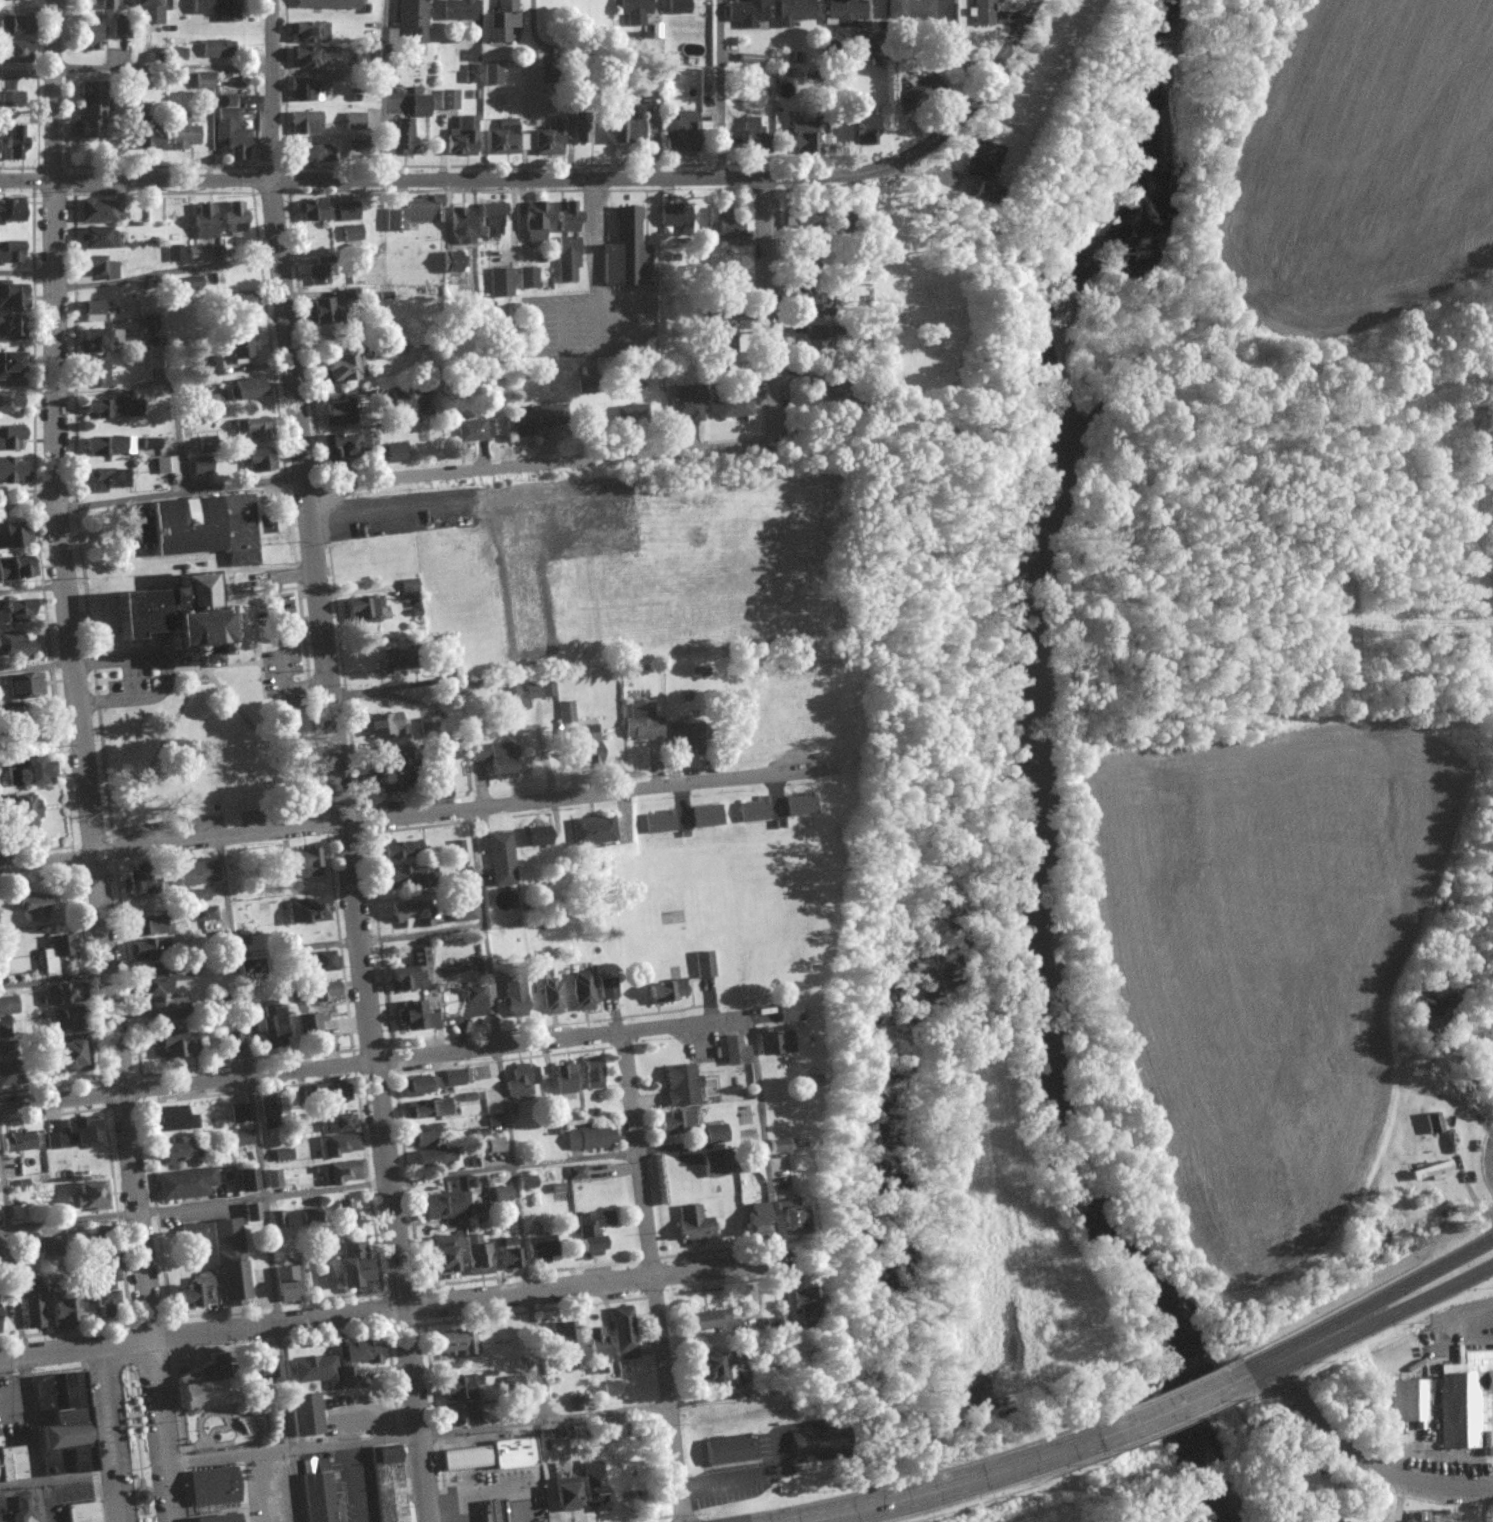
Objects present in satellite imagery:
building: (99, 3)
building: (327, 4)
building: (678, 6)
building: (217, 9)
building: (910, 9)
building: (457, 10)
building: (633, 10)
building: (151, 11)
building: (846, 11)
building: (795, 12)
building: (982, 12)
building: (747, 13)
building: (413, 19)
building: (503, 20)
building: (13, 25)
building: (308, 32)
building: (90, 36)
building: (862, 46)
building: (216, 49)
building: (13, 52)
building: (176, 53)
building: (313, 55)
road: (191, 65)
building: (473, 74)
building: (493, 74)
road: (990, 74)
building: (203, 81)
building: (925, 86)
road: (384, 88)
road: (720, 88)
building: (309, 90)
building: (647, 95)
building: (13, 99)
building: (449, 100)
building: (420, 105)
building: (90, 111)
building: (355, 121)
building: (304, 123)
building: (627, 126)
building: (864, 128)
building: (579, 132)
building: (183, 133)
building: (231, 133)
building: (682, 134)
building: (751, 135)
building: (803, 136)
building: (142, 137)
building: (462, 137)
building: (402, 138)
building: (506, 138)
building: (549, 139)
building: (11, 142)
building: (312, 154)
building: (978, 160)
road: (472, 178)
building: (316, 210)
building: (11, 211)
building: (100, 211)
building: (347, 212)
building: (414, 213)
building: (674, 217)
building: (803, 217)
building: (234, 219)
building: (491, 219)
building: (535, 221)
building: (204, 222)
building: (723, 225)
building: (462, 226)
building: (352, 233)
building: (96, 238)
building: (567, 242)
building: (625, 251)
building: (11, 252)
building: (175, 253)
building: (200, 254)
road: (595, 258)
building: (454, 262)
building: (808, 266)
building: (101, 267)
building: (319, 272)
road: (27, 273)
road: (166, 274)
building: (528, 278)
building: (501, 282)
building: (10, 295)
building: (242, 301)
building: (815, 304)
road: (766, 306)
building: (95, 311)
building: (325, 312)
building: (150, 323)
building: (10, 328)
building: (718, 339)
building: (98, 340)
building: (816, 342)
building: (241, 350)
building: (212, 366)
building: (9, 367)
building: (342, 369)
building: (95, 373)
road: (168, 381)
road: (28, 385)
building: (587, 385)
building: (249, 388)
building: (197, 391)
building: (401, 398)
building: (10, 402)
building: (685, 404)
building: (732, 407)
building: (114, 408)
building: (338, 413)
building: (532, 420)
building: (250, 430)
building: (474, 431)
building: (10, 439)
building: (206, 445)
building: (340, 445)
building: (109, 446)
building: (395, 452)
building: (256, 461)
building: (171, 463)
road: (541, 464)
building: (200, 466)
building: (12, 471)
building: (109, 479)
road: (181, 490)
road: (29, 502)
building: (198, 529)
building: (14, 535)
building: (17, 569)
road: (33, 589)
building: (410, 589)
building: (364, 609)
building: (19, 611)
building: (171, 619)
building: (16, 646)
building: (390, 661)
road: (38, 667)
road: (76, 671)
building: (447, 671)
road: (164, 676)
building: (24, 685)
building: (547, 686)
building: (521, 695)
building: (566, 712)
building: (643, 721)
building: (384, 724)
building: (19, 728)
building: (428, 728)
building: (686, 738)
road: (541, 748)
building: (585, 749)
building: (495, 756)
river: (1030, 758)
road: (340, 761)
building: (30, 771)
building: (392, 773)
building: (438, 787)
building: (801, 804)
building: (755, 810)
building: (20, 812)
road: (409, 816)
building: (707, 816)
building: (660, 821)
building: (593, 830)
building: (538, 836)
building: (400, 848)
building: (502, 859)
building: (302, 862)
building: (198, 873)
building: (404, 879)
building: (138, 883)
building: (200, 895)
building: (36, 906)
building: (309, 910)
building: (410, 913)
building: (465, 913)
building: (146, 924)
building: (151, 947)
building: (54, 953)
road: (241, 954)
building: (325, 960)
building: (705, 964)
building: (247, 966)
building: (410, 971)
building: (610, 987)
building: (584, 990)
building: (666, 990)
building: (324, 991)
building: (477, 992)
building: (517, 993)
building: (60, 994)
building: (155, 995)
building: (553, 996)
building: (9, 1005)
building: (789, 1011)
building: (415, 1016)
building: (62, 1022)
building: (310, 1023)
building: (274, 1024)
building: (232, 1041)
building: (176, 1042)
building: (775, 1042)
building: (735, 1051)
building: (66, 1055)
road: (365, 1062)
building: (11, 1073)
building: (594, 1074)
building: (457, 1076)
building: (565, 1078)
building: (523, 1080)
building: (423, 1084)
building: (683, 1085)
building: (330, 1093)
building: (429, 1108)
building: (240, 1112)
building: (269, 1112)
road: (507, 1114)
building: (171, 1119)
building: (1434, 1122)
building: (338, 1123)
building: (678, 1123)
building: (716, 1133)
building: (76, 1134)
building: (427, 1134)
building: (242, 1138)
building: (591, 1138)
building: (17, 1141)
building: (338, 1144)
building: (781, 1144)
building: (493, 1146)
building: (179, 1150)
building: (283, 1154)
building: (436, 1156)
building: (716, 1163)
building: (1435, 1171)
building: (342, 1172)
building: (577, 1172)
building: (274, 1178)
building: (245, 1179)
road: (262, 1180)
building: (527, 1182)
building: (185, 1183)
road: (319, 1190)
building: (502, 1194)
building: (90, 1195)
road: (770, 1199)
building: (446, 1205)
building: (345, 1211)
building: (18, 1212)
building: (251, 1212)
building: (791, 1215)
building: (278, 1218)
building: (755, 1220)
building: (694, 1224)
building: (593, 1231)
building: (191, 1232)
building: (36, 1244)
building: (541, 1249)
building: (443, 1253)
building: (508, 1254)
building: (479, 1256)
building: (227, 1259)
building: (349, 1265)
road: (654, 1276)
building: (285, 1283)
building: (101, 1292)
building: (193, 1293)
building: (803, 1299)
road: (1379, 1300)
building: (31, 1303)
road: (409, 1307)
building: (59, 1313)
road: (1382, 1318)
building: (712, 1321)
road: (20, 1333)
building: (623, 1333)
building: (454, 1342)
building: (564, 1342)
building: (599, 1346)
building: (359, 1353)
building: (713, 1368)
road: (1258, 1369)
building: (264, 1371)
building: (323, 1371)
building: (609, 1387)
building: (196, 1389)
building: (460, 1400)
road: (1183, 1402)
building: (1468, 1402)
building: (305, 1414)
building: (58, 1425)
road: (499, 1426)
road: (160, 1430)
road: (101, 1434)
building: (817, 1440)
building: (732, 1449)
building: (491, 1455)
road: (1362, 1461)
building: (11, 1464)
road: (53, 1479)
road: (961, 1482)
building: (388, 1484)
building: (211, 1486)
building: (592, 1487)
building: (320, 1492)
building: (564, 1494)
road: (1410, 1501)
road: (1490, 1504)
building: (20, 1509)
building: (492, 1511)
building: (80, 1512)
building: (1419, 1517)
building: (216, 1518)
building: (1333, 1520)
building: (0, 1521)

